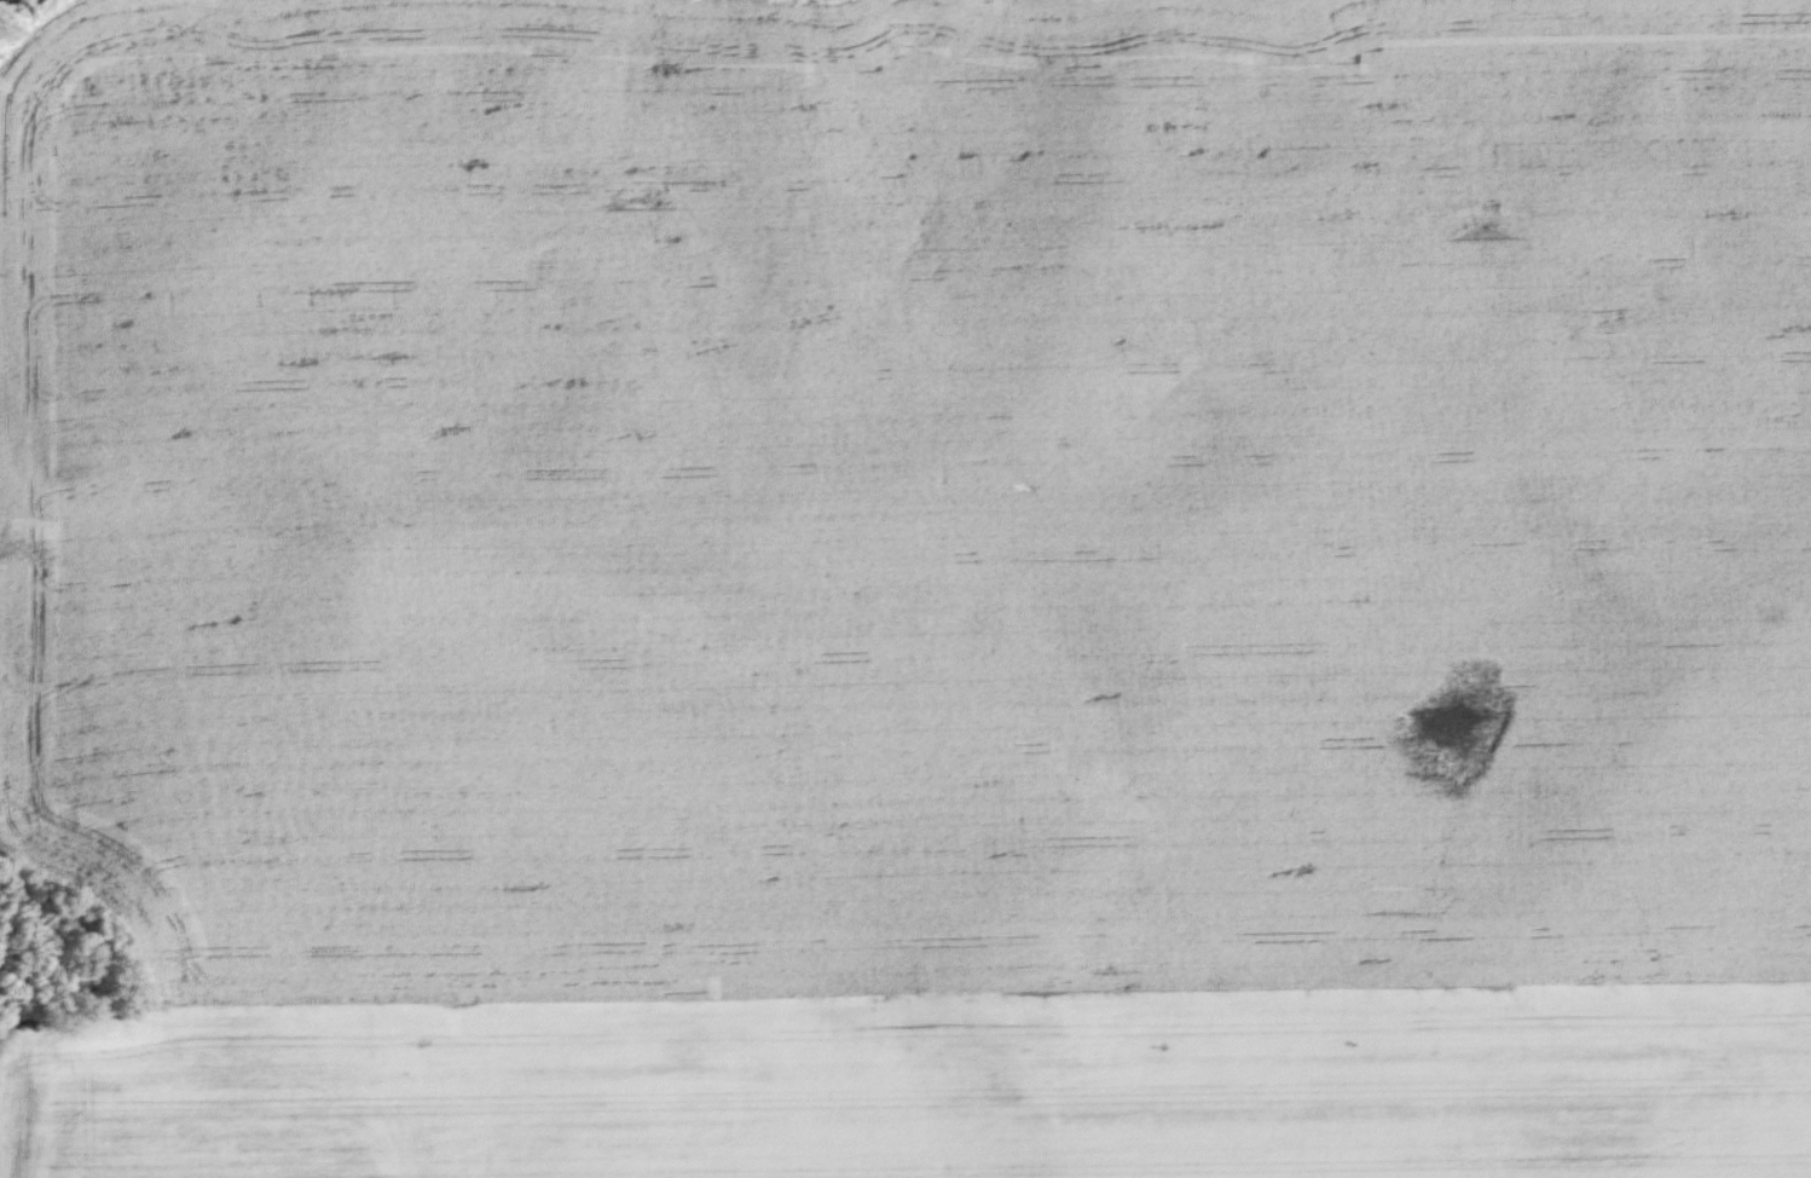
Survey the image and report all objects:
crop: (905, 589)

